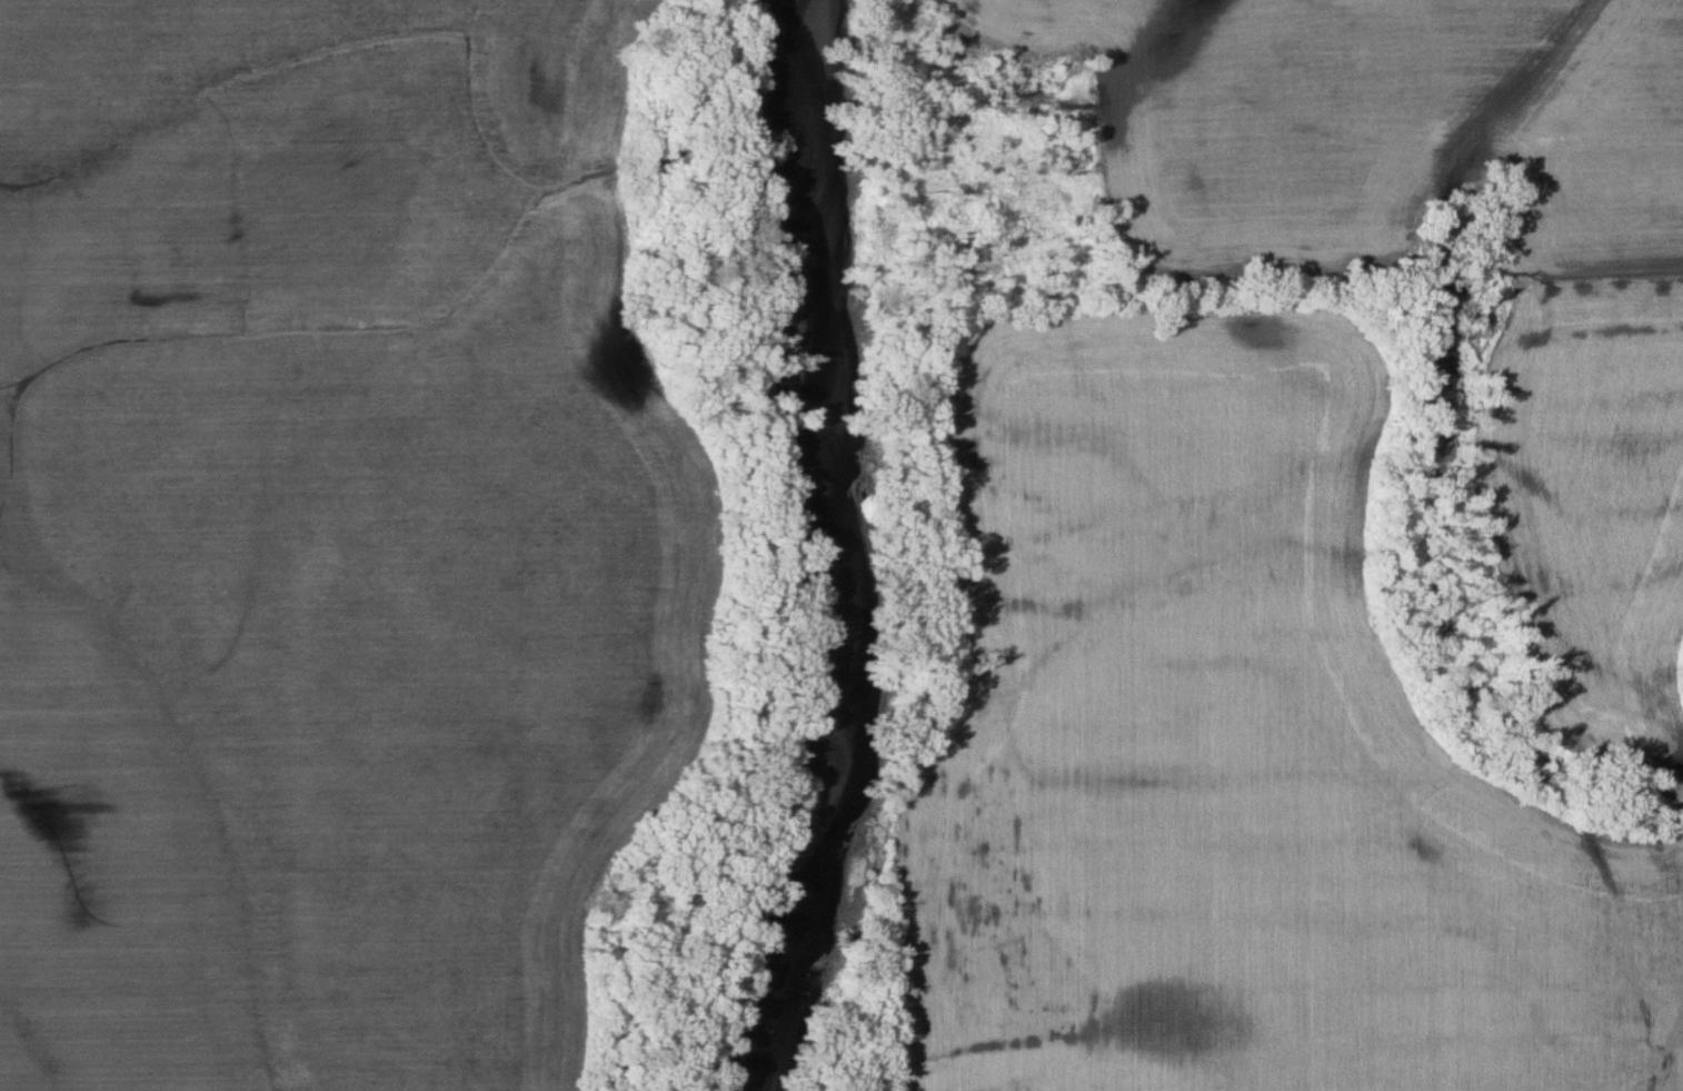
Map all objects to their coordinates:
crop: (326, 551)
crop: (1235, 758)

